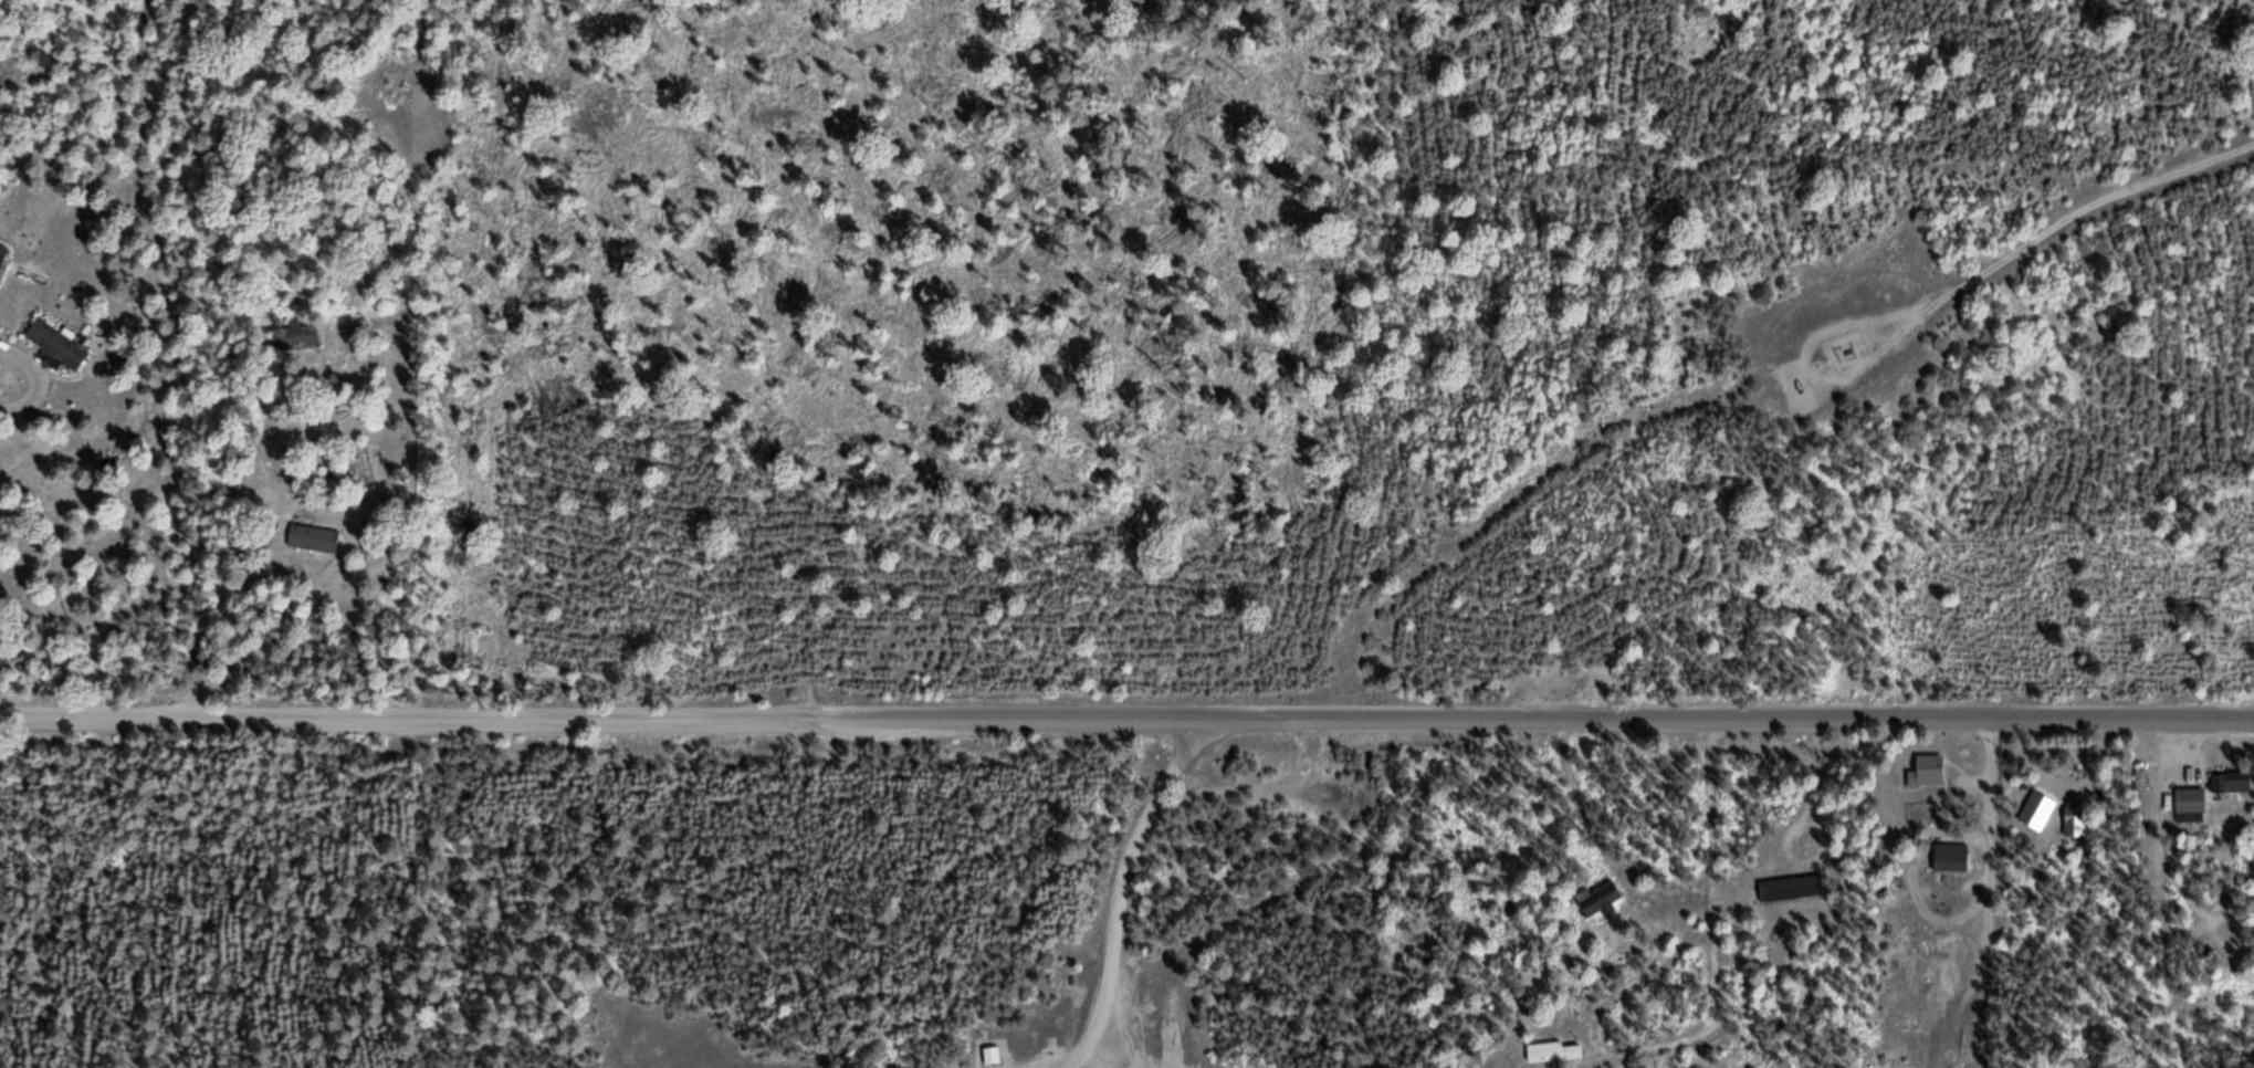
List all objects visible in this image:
road: (2199, 33)
building: (391, 134)
road: (1594, 143)
road: (707, 149)
road: (2067, 201)
building: (294, 337)
petroleum well: (1845, 338)
building: (55, 344)
road: (1806, 363)
road: (1530, 461)
road: (407, 496)
building: (292, 542)
road: (407, 718)
road: (1534, 718)
building: (1928, 769)
building: (2230, 781)
building: (2140, 790)
building: (2189, 803)
building: (2074, 818)
building: (1950, 856)
road: (1120, 887)
building: (1791, 887)
building: (1600, 899)
building: (1553, 1050)
building: (990, 1054)

